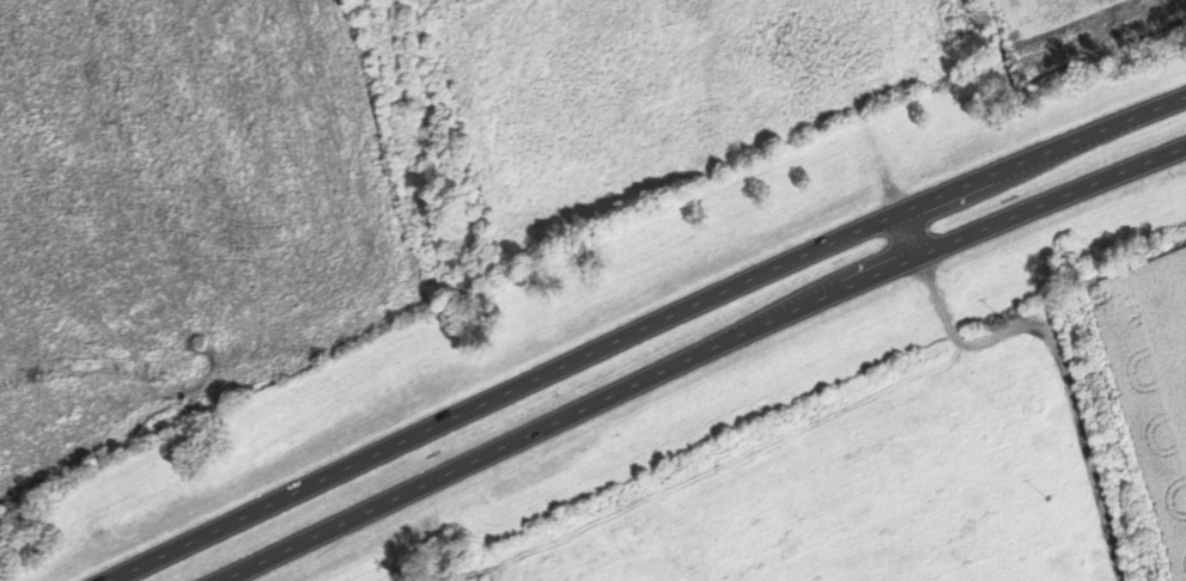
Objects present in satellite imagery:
crop: (1045, 10)
road: (910, 233)
road: (644, 330)
road: (697, 357)
crop: (1155, 386)

